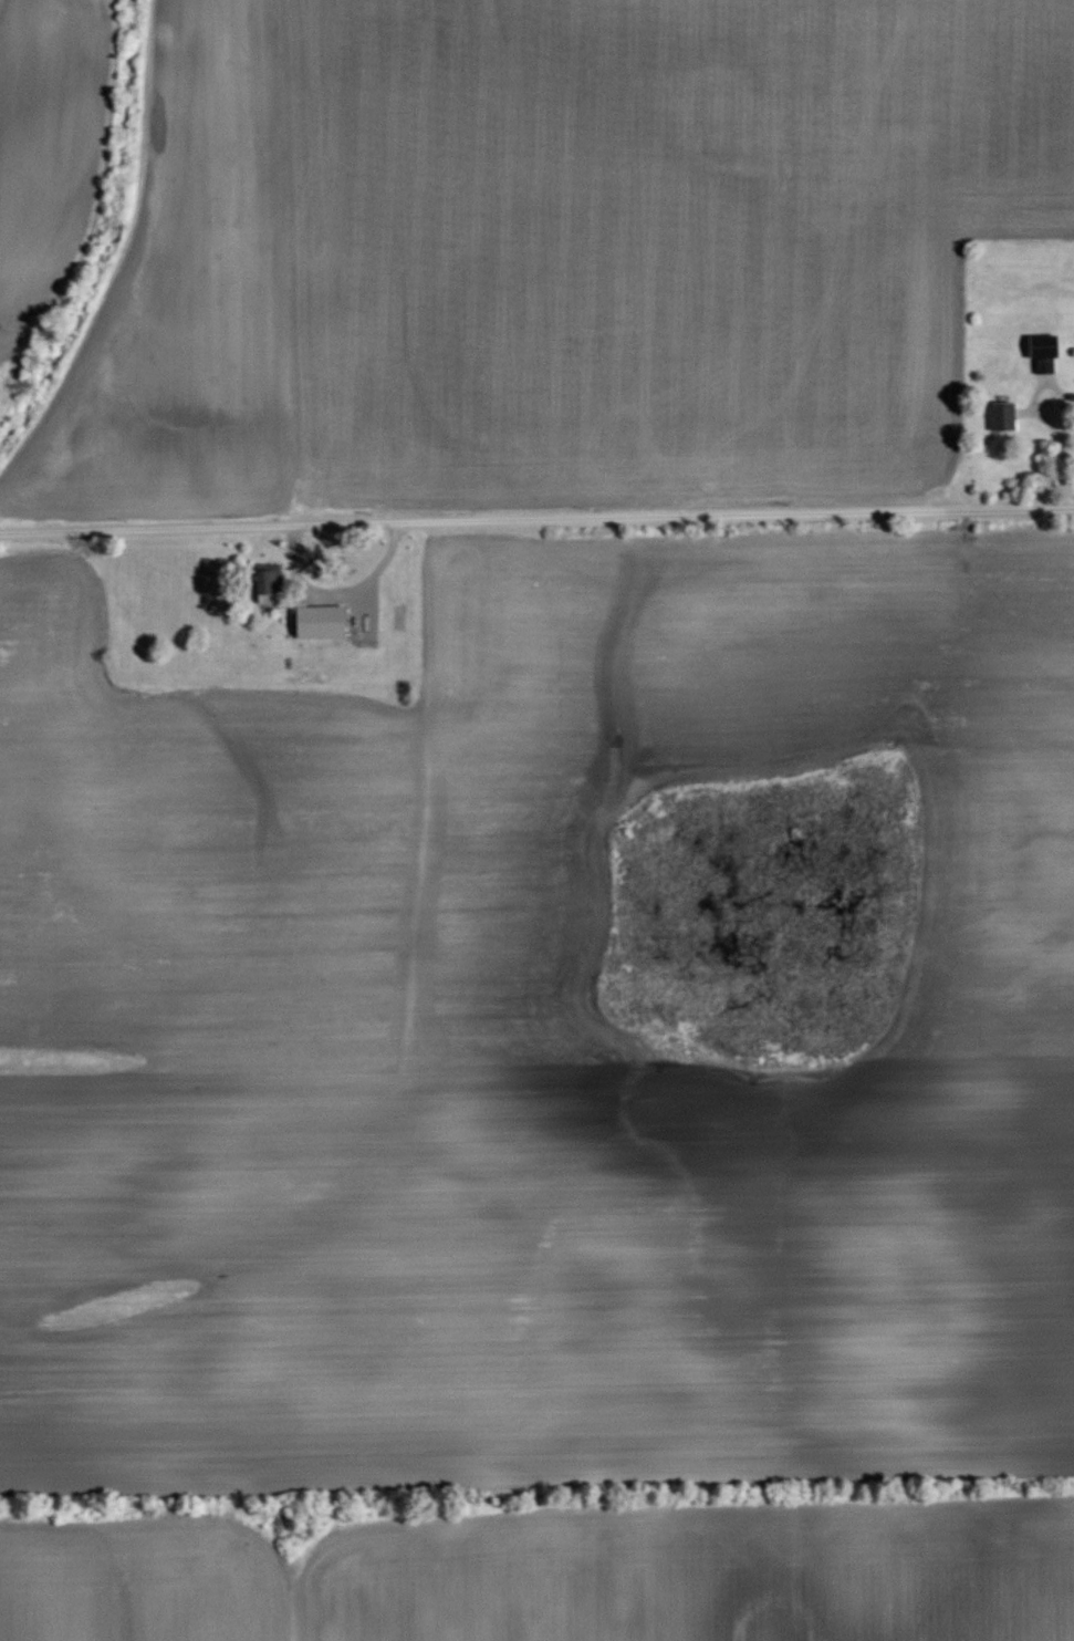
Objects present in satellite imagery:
building: (1043, 351)
building: (1003, 414)
road: (536, 520)
building: (269, 584)
building: (320, 619)

